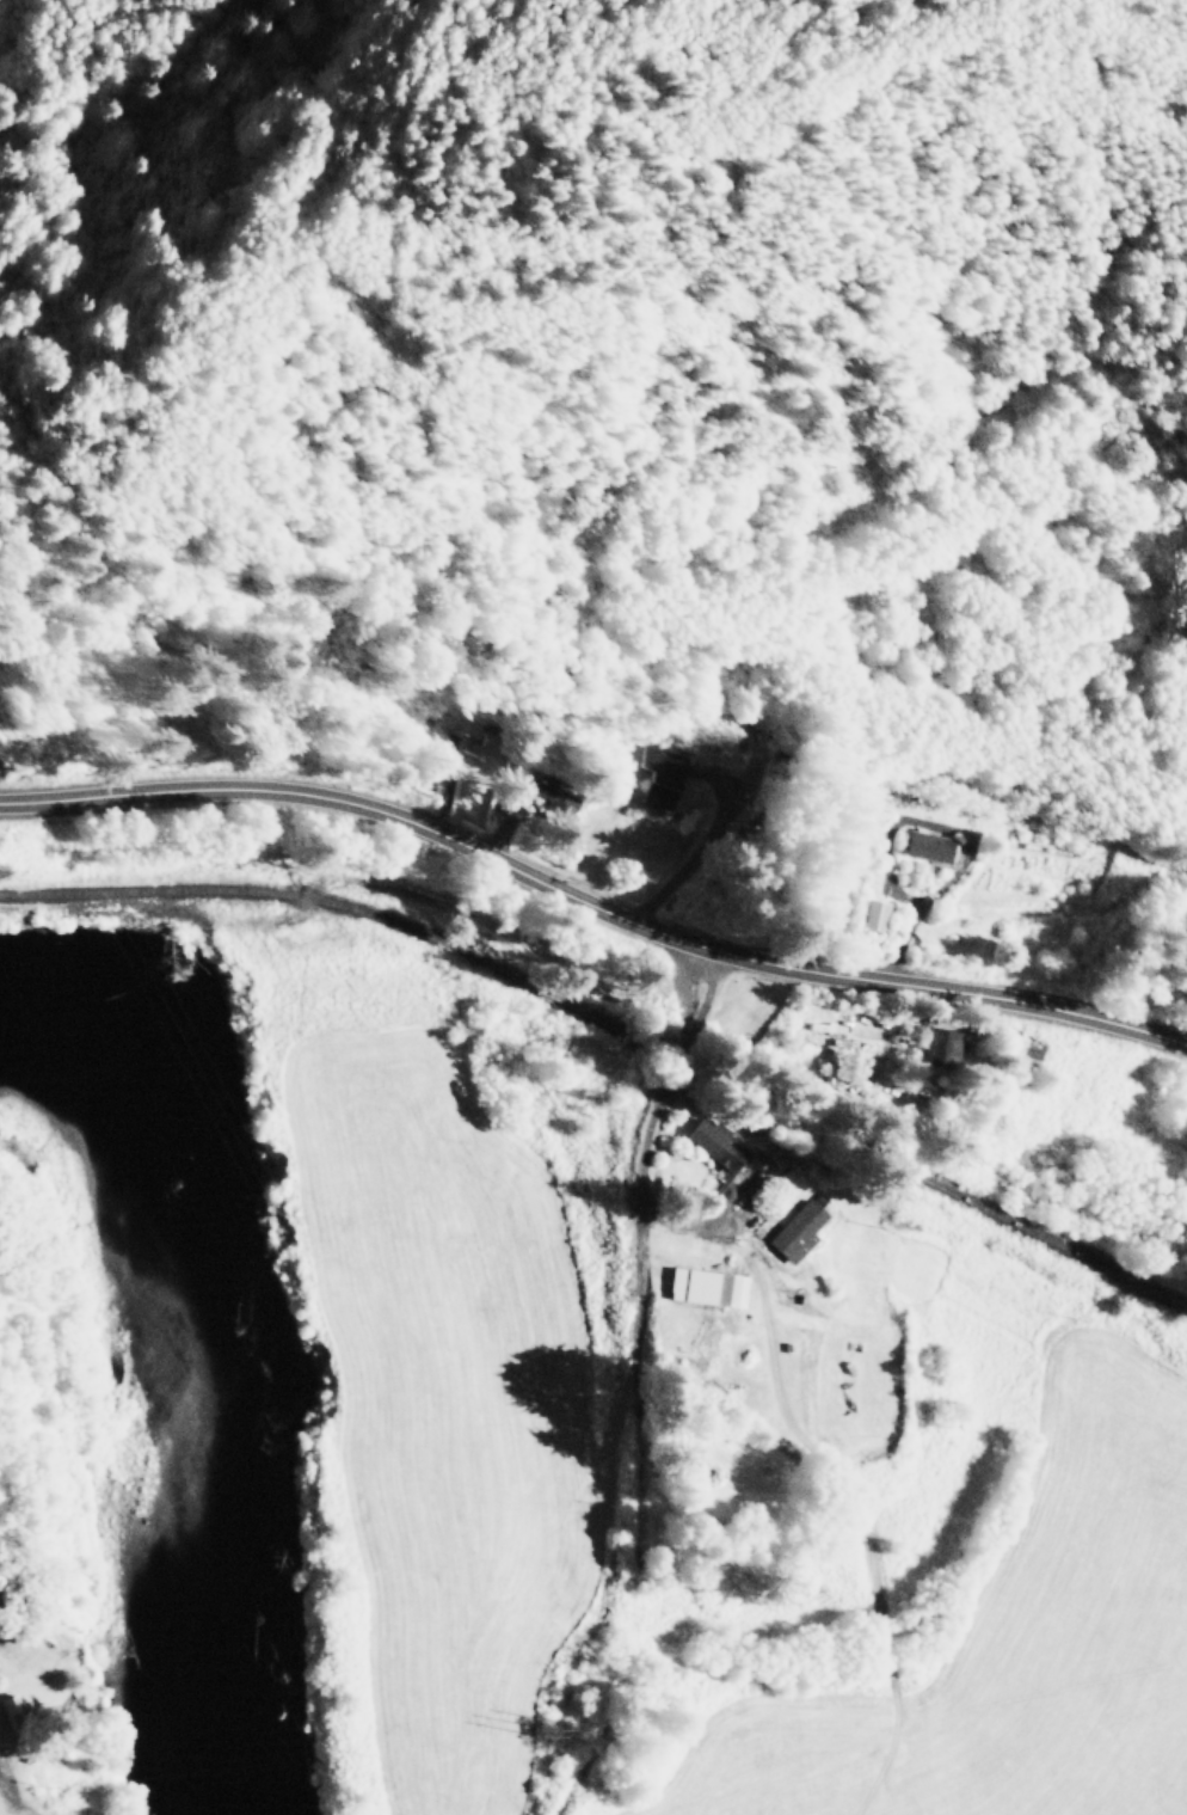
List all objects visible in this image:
road: (363, 192)
building: (659, 765)
building: (925, 845)
road: (591, 903)
building: (871, 913)
railway: (611, 1025)
building: (934, 1046)
road: (650, 1124)
building: (712, 1143)
building: (794, 1230)
building: (705, 1286)
river: (179, 1380)
crop: (685, 1460)
building: (8, 1705)

